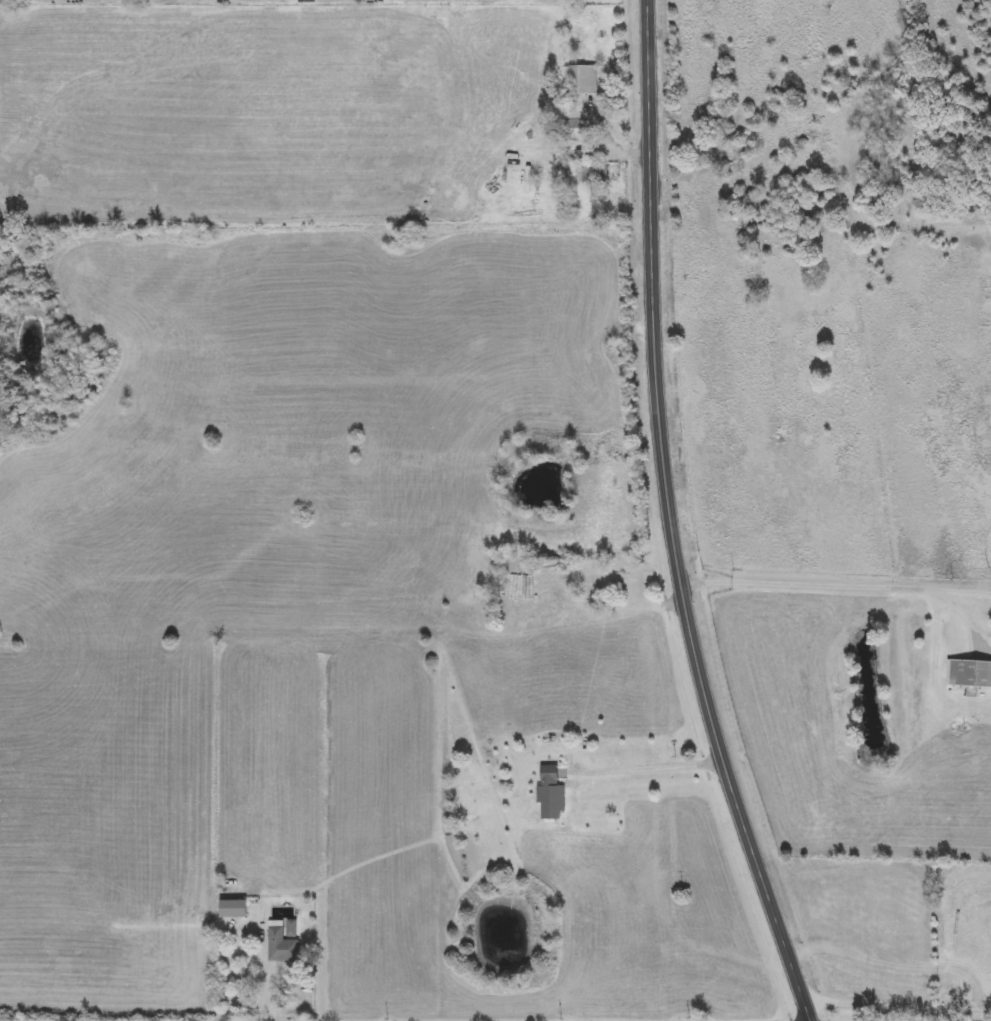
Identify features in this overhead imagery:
building: (580, 97)
road: (621, 144)
building: (592, 173)
road: (671, 519)
building: (613, 578)
building: (495, 580)
road: (810, 584)
road: (965, 592)
road: (966, 618)
building: (970, 673)
road: (647, 767)
building: (551, 793)
building: (234, 909)
building: (281, 944)
road: (871, 958)
road: (267, 971)
road: (977, 986)
road: (896, 1006)

